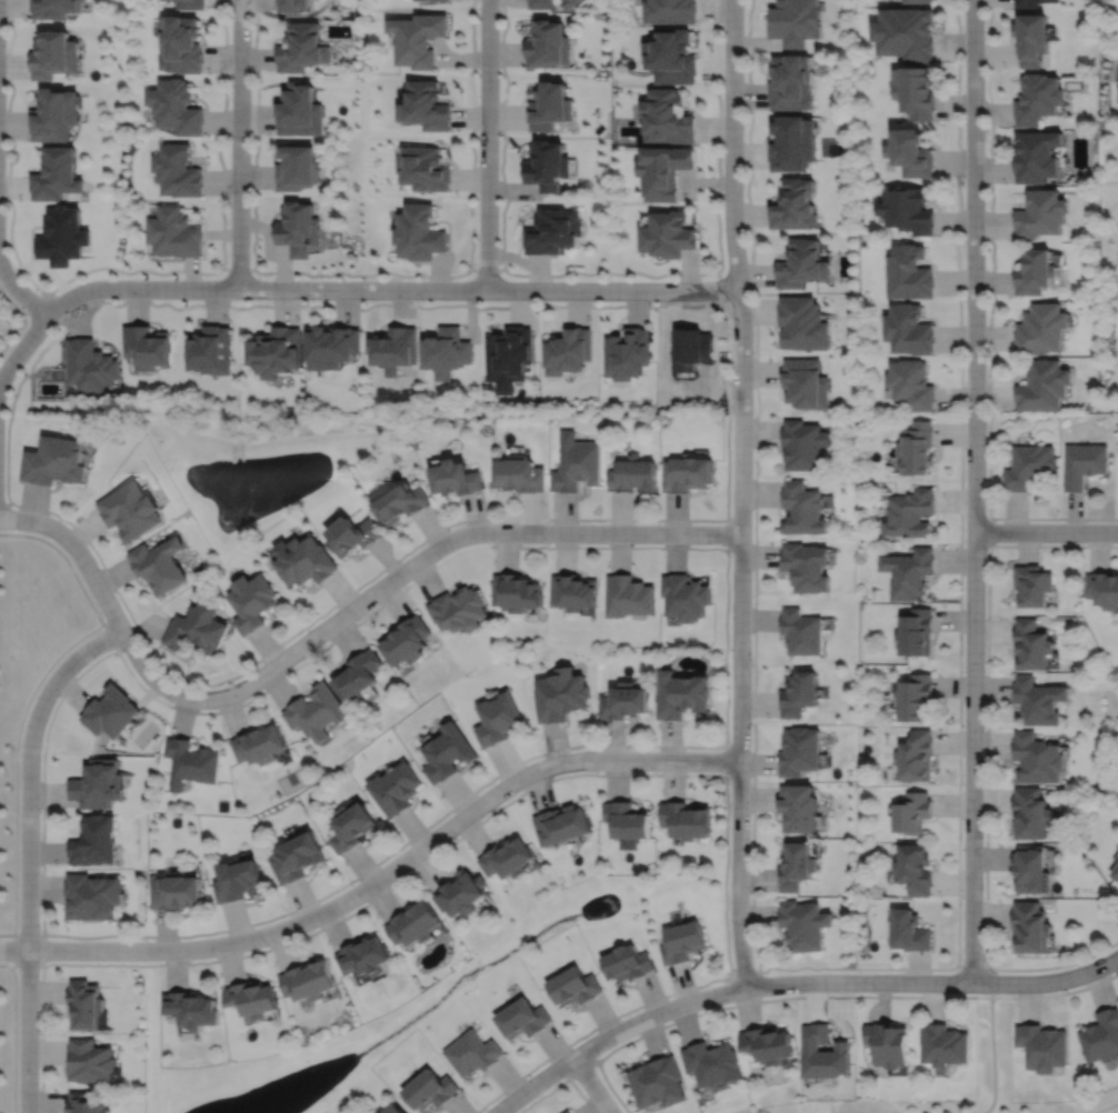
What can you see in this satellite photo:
building: (433, 0)
building: (916, 1)
building: (539, 3)
building: (567, 3)
building: (1028, 3)
building: (189, 4)
building: (290, 4)
building: (52, 8)
building: (669, 10)
building: (796, 21)
building: (904, 32)
building: (417, 38)
building: (1030, 38)
building: (179, 43)
building: (546, 44)
building: (301, 47)
building: (53, 54)
building: (670, 56)
building: (790, 82)
building: (914, 91)
building: (1036, 99)
road: (8, 100)
building: (425, 106)
building: (173, 107)
building: (548, 107)
building: (299, 111)
building: (52, 114)
building: (667, 118)
building: (791, 143)
road: (239, 144)
road: (487, 144)
park: (829, 147)
building: (909, 153)
building: (1035, 156)
building: (546, 166)
building: (295, 168)
building: (423, 168)
building: (176, 170)
building: (662, 171)
building: (54, 174)
road: (222, 188)
building: (793, 204)
building: (907, 210)
building: (1039, 214)
building: (298, 229)
building: (552, 232)
building: (172, 233)
building: (418, 233)
building: (667, 234)
building: (801, 264)
road: (238, 269)
road: (486, 270)
road: (610, 272)
building: (1032, 272)
building: (907, 273)
road: (363, 275)
road: (388, 290)
road: (20, 294)
road: (22, 321)
road: (989, 322)
building: (802, 324)
building: (1039, 329)
building: (906, 330)
building: (330, 347)
road: (21, 348)
building: (144, 348)
building: (392, 350)
building: (208, 351)
building: (567, 351)
building: (274, 352)
building: (443, 353)
building: (626, 354)
building: (507, 358)
building: (87, 365)
building: (805, 384)
building: (908, 385)
building: (1041, 387)
building: (803, 447)
building: (914, 450)
building: (53, 462)
building: (575, 465)
building: (1081, 465)
building: (1027, 467)
building: (685, 474)
building: (517, 475)
building: (631, 477)
building: (452, 480)
fountain: (249, 482)
road: (974, 492)
road: (741, 494)
building: (400, 504)
building: (802, 510)
building: (129, 512)
building: (908, 515)
road: (990, 531)
road: (80, 532)
road: (1046, 532)
building: (352, 537)
road: (695, 548)
road: (78, 552)
building: (305, 563)
building: (158, 566)
building: (806, 568)
road: (72, 572)
road: (401, 573)
building: (906, 574)
building: (1031, 588)
building: (1102, 592)
building: (516, 594)
building: (572, 594)
building: (628, 599)
building: (685, 600)
building: (250, 603)
building: (457, 612)
building: (197, 629)
building: (800, 632)
building: (914, 635)
building: (405, 641)
building: (1029, 648)
street lamp: (750, 660)
building: (356, 671)
street lamp: (984, 671)
building: (798, 691)
building: (559, 693)
building: (680, 693)
building: (911, 699)
building: (623, 700)
building: (1038, 700)
building: (110, 710)
building: (316, 710)
building: (497, 719)
building: (260, 742)
building: (799, 750)
building: (446, 752)
building: (912, 755)
building: (1035, 758)
building: (190, 761)
road: (726, 761)
road: (987, 761)
road: (14, 778)
street lamp: (728, 782)
building: (97, 783)
street lamp: (962, 784)
building: (393, 788)
road: (533, 788)
building: (798, 806)
building: (910, 812)
building: (1029, 812)
building: (626, 819)
building: (685, 819)
building: (560, 824)
building: (351, 826)
building: (93, 840)
building: (1117, 850)
road: (29, 851)
building: (297, 856)
building: (506, 858)
building: (797, 865)
building: (1115, 866)
building: (911, 869)
building: (1029, 869)
road: (379, 878)
building: (238, 879)
park: (10, 889)
building: (176, 891)
building: (459, 893)
street lamp: (750, 893)
building: (90, 895)
street lamp: (961, 899)
building: (412, 924)
building: (803, 924)
building: (1028, 926)
building: (907, 931)
road: (21, 933)
building: (681, 942)
building: (362, 955)
road: (43, 956)
building: (626, 963)
road: (13, 964)
road: (970, 966)
road: (850, 969)
street lamp: (859, 972)
street lamp: (991, 972)
road: (745, 973)
building: (309, 980)
street lamp: (726, 981)
road: (793, 983)
building: (572, 986)
road: (820, 996)
building: (251, 997)
building: (83, 1004)
building: (190, 1009)
building: (520, 1019)
building: (1100, 1035)
road: (13, 1040)
building: (768, 1045)
building: (941, 1045)
building: (888, 1046)
building: (1040, 1046)
road: (992, 1050)
building: (470, 1053)
building: (823, 1053)
building: (88, 1061)
building: (711, 1063)
road: (581, 1069)
park: (990, 1079)
road: (561, 1082)
building: (657, 1083)
road: (591, 1085)
building: (427, 1091)
building: (83, 1103)
park: (807, 1107)
road: (1106, 1107)
building: (392, 1110)
building: (377, 1112)
building: (567, 1112)

